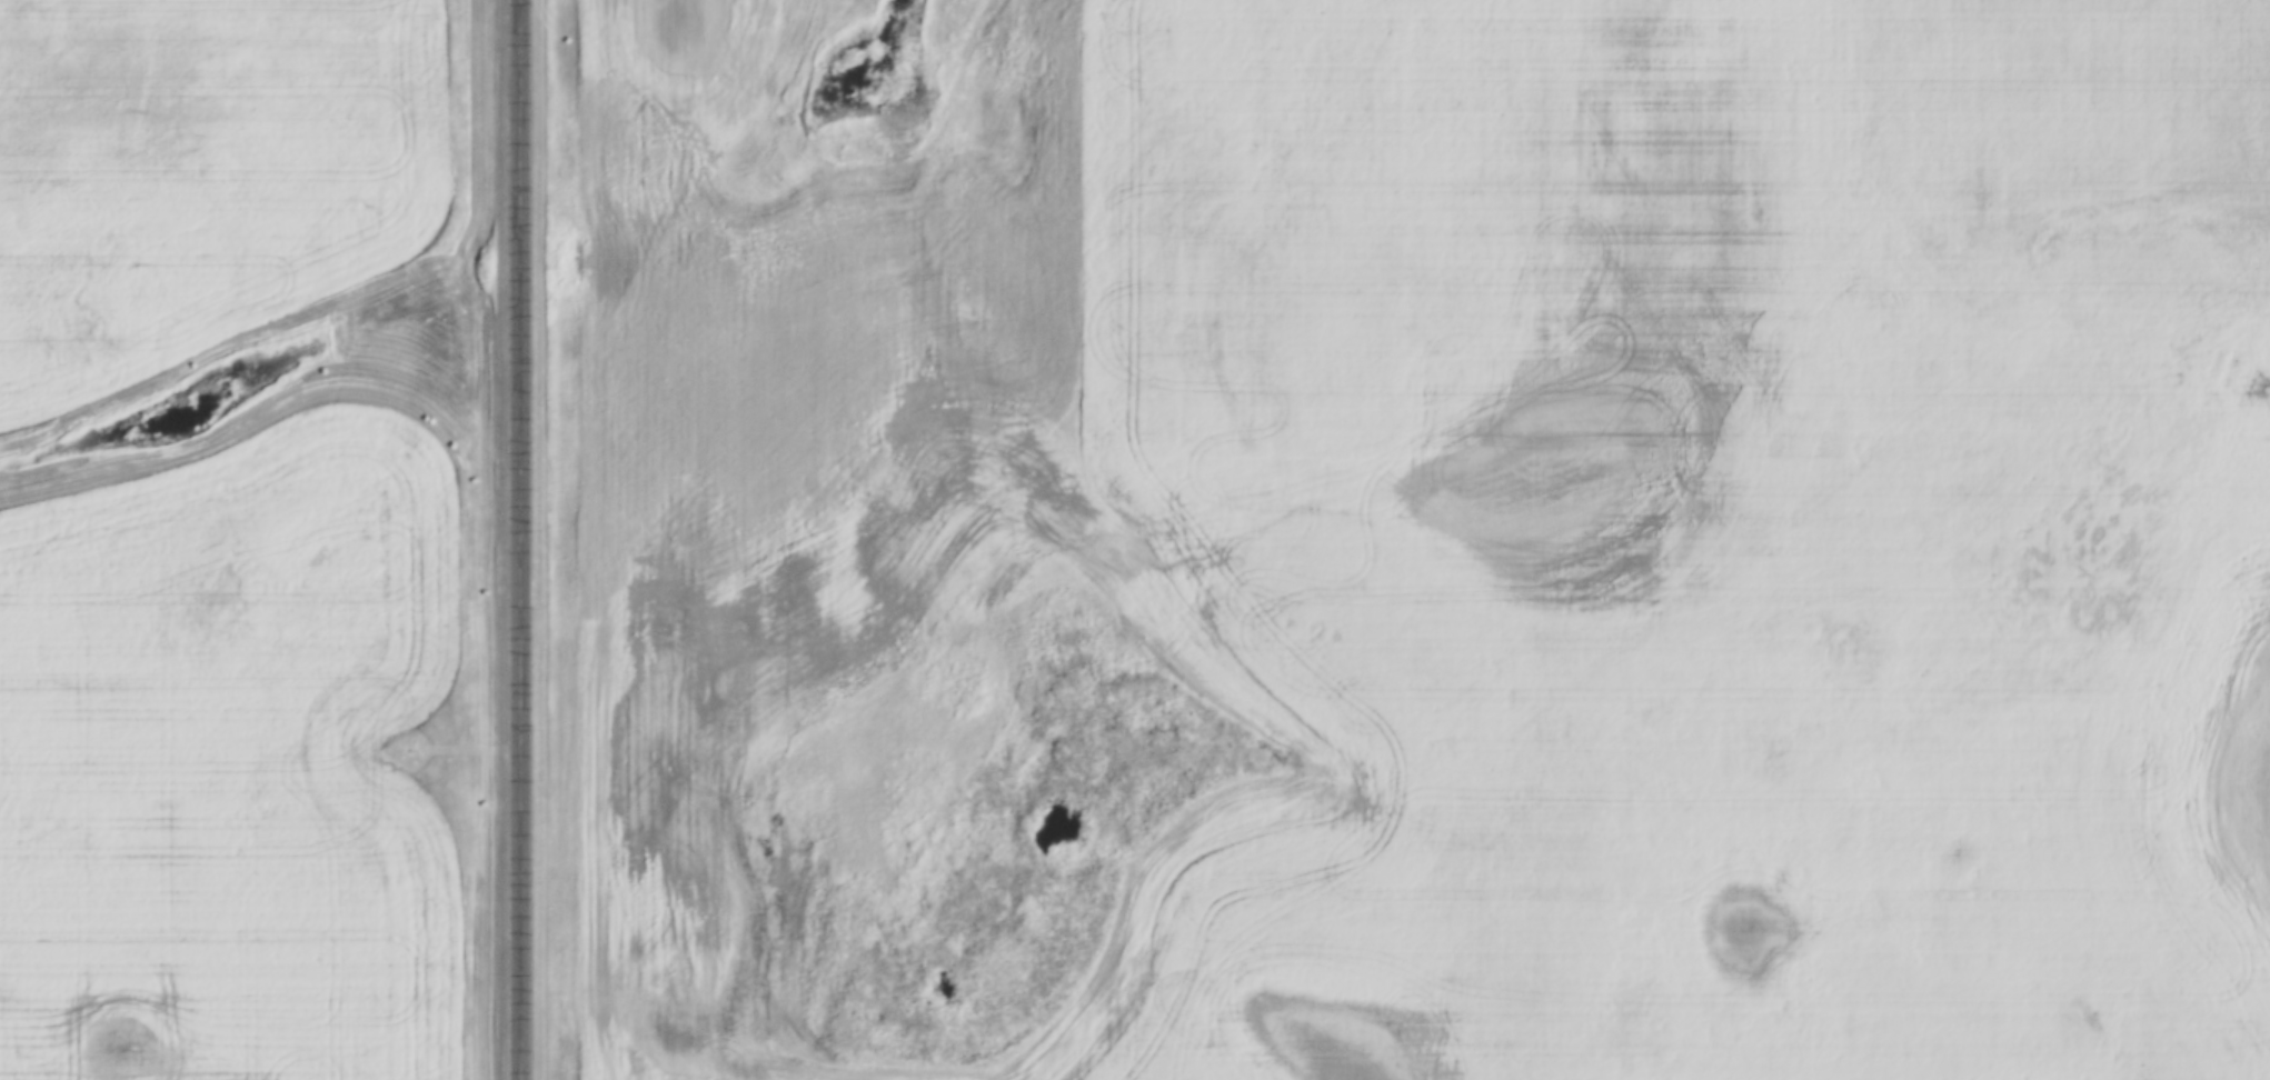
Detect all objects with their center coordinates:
road: (519, 540)

